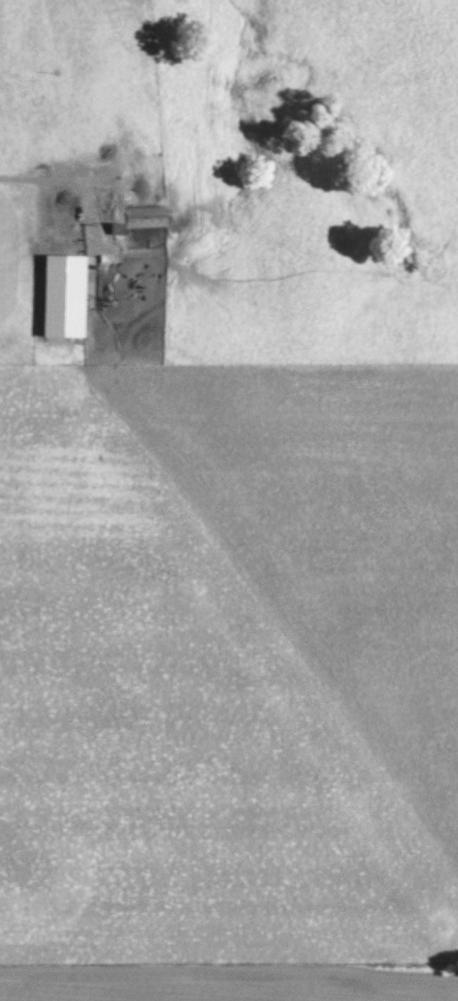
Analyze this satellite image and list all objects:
building: (147, 217)
building: (62, 280)

